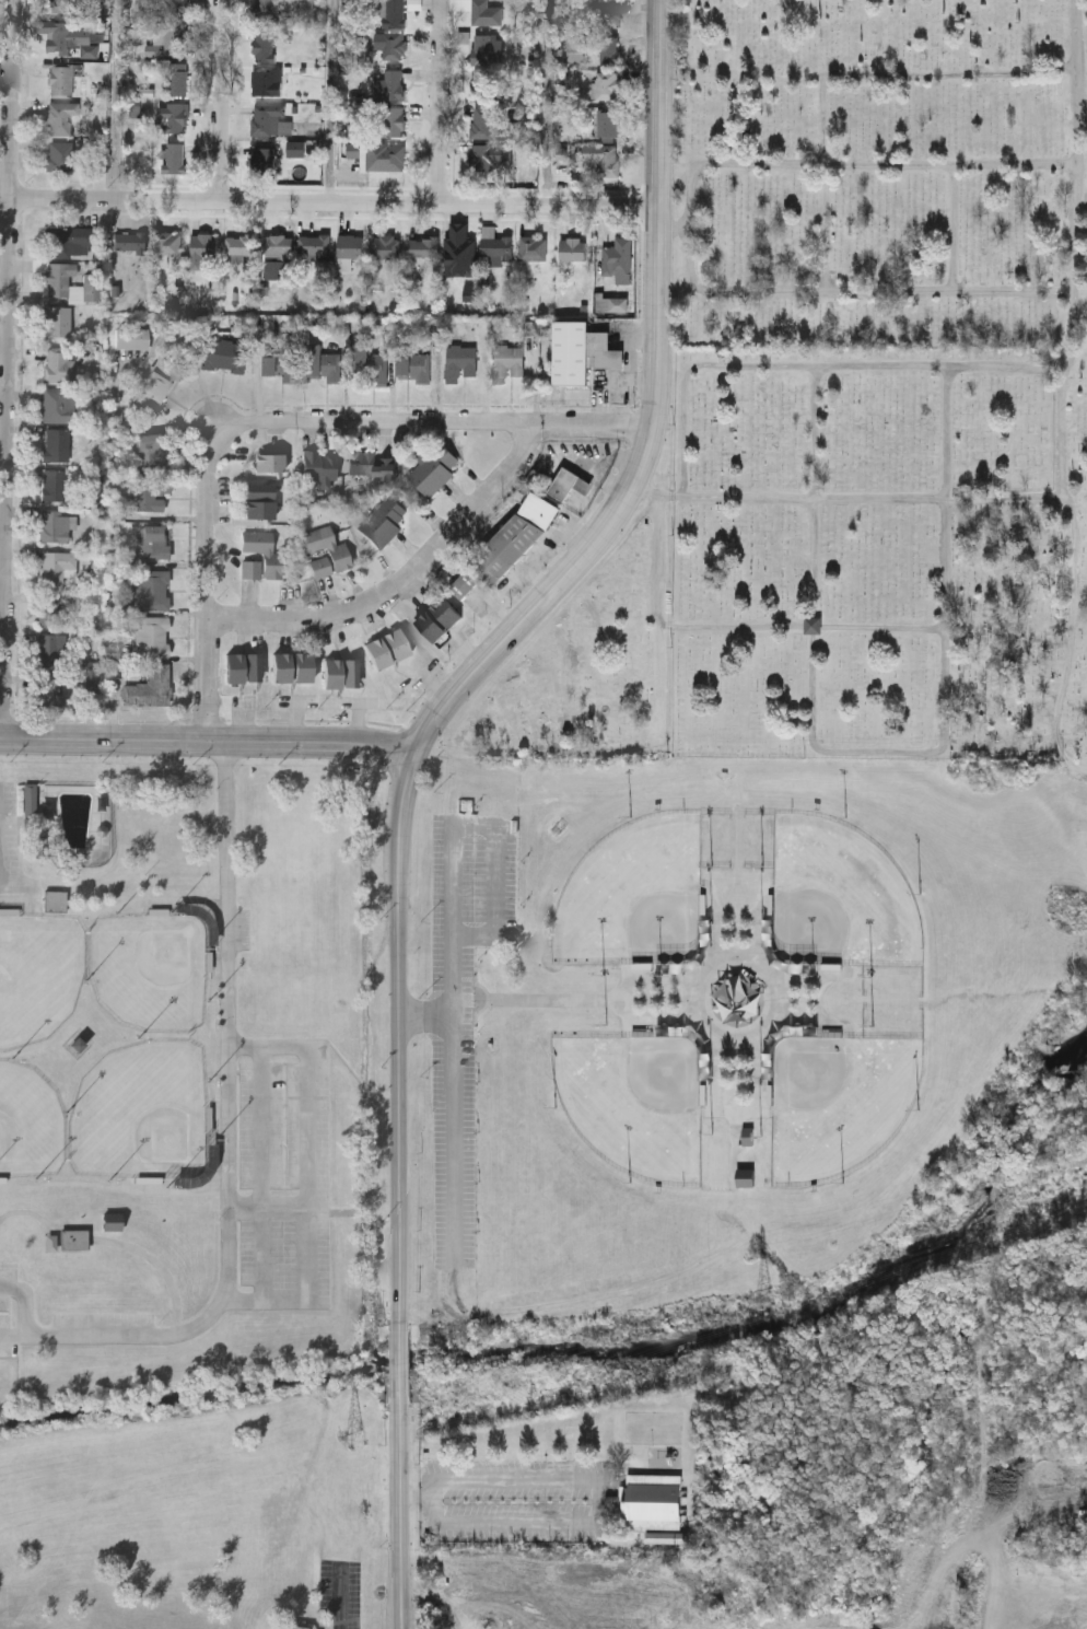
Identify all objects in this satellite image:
building: (58, 5)
building: (175, 7)
building: (265, 10)
building: (484, 11)
building: (393, 12)
building: (609, 12)
building: (69, 35)
building: (175, 37)
building: (264, 45)
building: (393, 45)
building: (481, 47)
building: (609, 48)
road: (843, 75)
building: (62, 78)
building: (178, 78)
building: (266, 80)
building: (394, 83)
building: (480, 83)
building: (607, 83)
road: (118, 100)
road: (223, 100)
road: (329, 100)
road: (440, 102)
road: (546, 102)
building: (60, 116)
building: (173, 116)
building: (270, 118)
building: (391, 118)
building: (481, 120)
building: (607, 124)
road: (1079, 147)
building: (378, 154)
building: (484, 154)
building: (59, 155)
building: (173, 156)
building: (603, 158)
building: (262, 161)
road: (853, 165)
road: (330, 201)
road: (659, 213)
road: (674, 228)
road: (952, 229)
building: (67, 241)
building: (128, 242)
building: (276, 244)
building: (166, 245)
building: (350, 245)
building: (201, 246)
building: (239, 246)
building: (313, 246)
building: (385, 246)
building: (423, 246)
building: (459, 246)
building: (533, 247)
building: (572, 247)
building: (496, 249)
building: (616, 259)
building: (61, 281)
road: (853, 292)
building: (610, 303)
building: (57, 321)
building: (131, 338)
building: (578, 351)
building: (224, 354)
building: (459, 360)
building: (506, 361)
building: (323, 362)
building: (57, 363)
building: (280, 364)
building: (367, 364)
building: (412, 365)
road: (813, 365)
road: (10, 370)
building: (155, 386)
building: (56, 405)
park: (851, 406)
road: (281, 417)
building: (55, 443)
building: (150, 453)
building: (268, 461)
building: (371, 463)
building: (318, 466)
building: (432, 466)
building: (52, 484)
building: (553, 489)
building: (149, 493)
road: (861, 499)
building: (258, 503)
road: (1063, 503)
building: (382, 521)
building: (54, 525)
building: (513, 537)
building: (154, 542)
building: (324, 551)
building: (259, 556)
building: (56, 566)
road: (406, 583)
building: (463, 583)
road: (659, 587)
building: (152, 590)
building: (47, 607)
building: (437, 618)
road: (803, 626)
building: (814, 626)
building: (152, 637)
building: (386, 649)
building: (47, 650)
building: (242, 666)
building: (291, 666)
building: (340, 673)
building: (149, 687)
building: (47, 689)
road: (206, 741)
road: (874, 752)
road: (398, 827)
road: (457, 835)
parking lot: (10, 841)
park: (634, 899)
park: (839, 899)
building: (55, 904)
road: (108, 911)
park: (150, 973)
park: (37, 978)
parking lot: (463, 1002)
park: (710, 1019)
building: (78, 1047)
park: (634, 1103)
park: (839, 1103)
road: (454, 1109)
park: (141, 1115)
park: (28, 1125)
road: (230, 1125)
road: (262, 1174)
parking lot: (285, 1175)
building: (746, 1178)
road: (309, 1179)
road: (115, 1189)
park: (194, 1192)
road: (270, 1206)
building: (112, 1223)
road: (110, 1242)
building: (74, 1243)
power tower: (768, 1302)
road: (27, 1303)
parking lot: (61, 1324)
road: (14, 1338)
road: (399, 1366)
road: (230, 1389)
power tower: (353, 1440)
road: (593, 1479)
building: (653, 1500)
road: (400, 1522)
road: (341, 1601)
building: (277, 1628)

